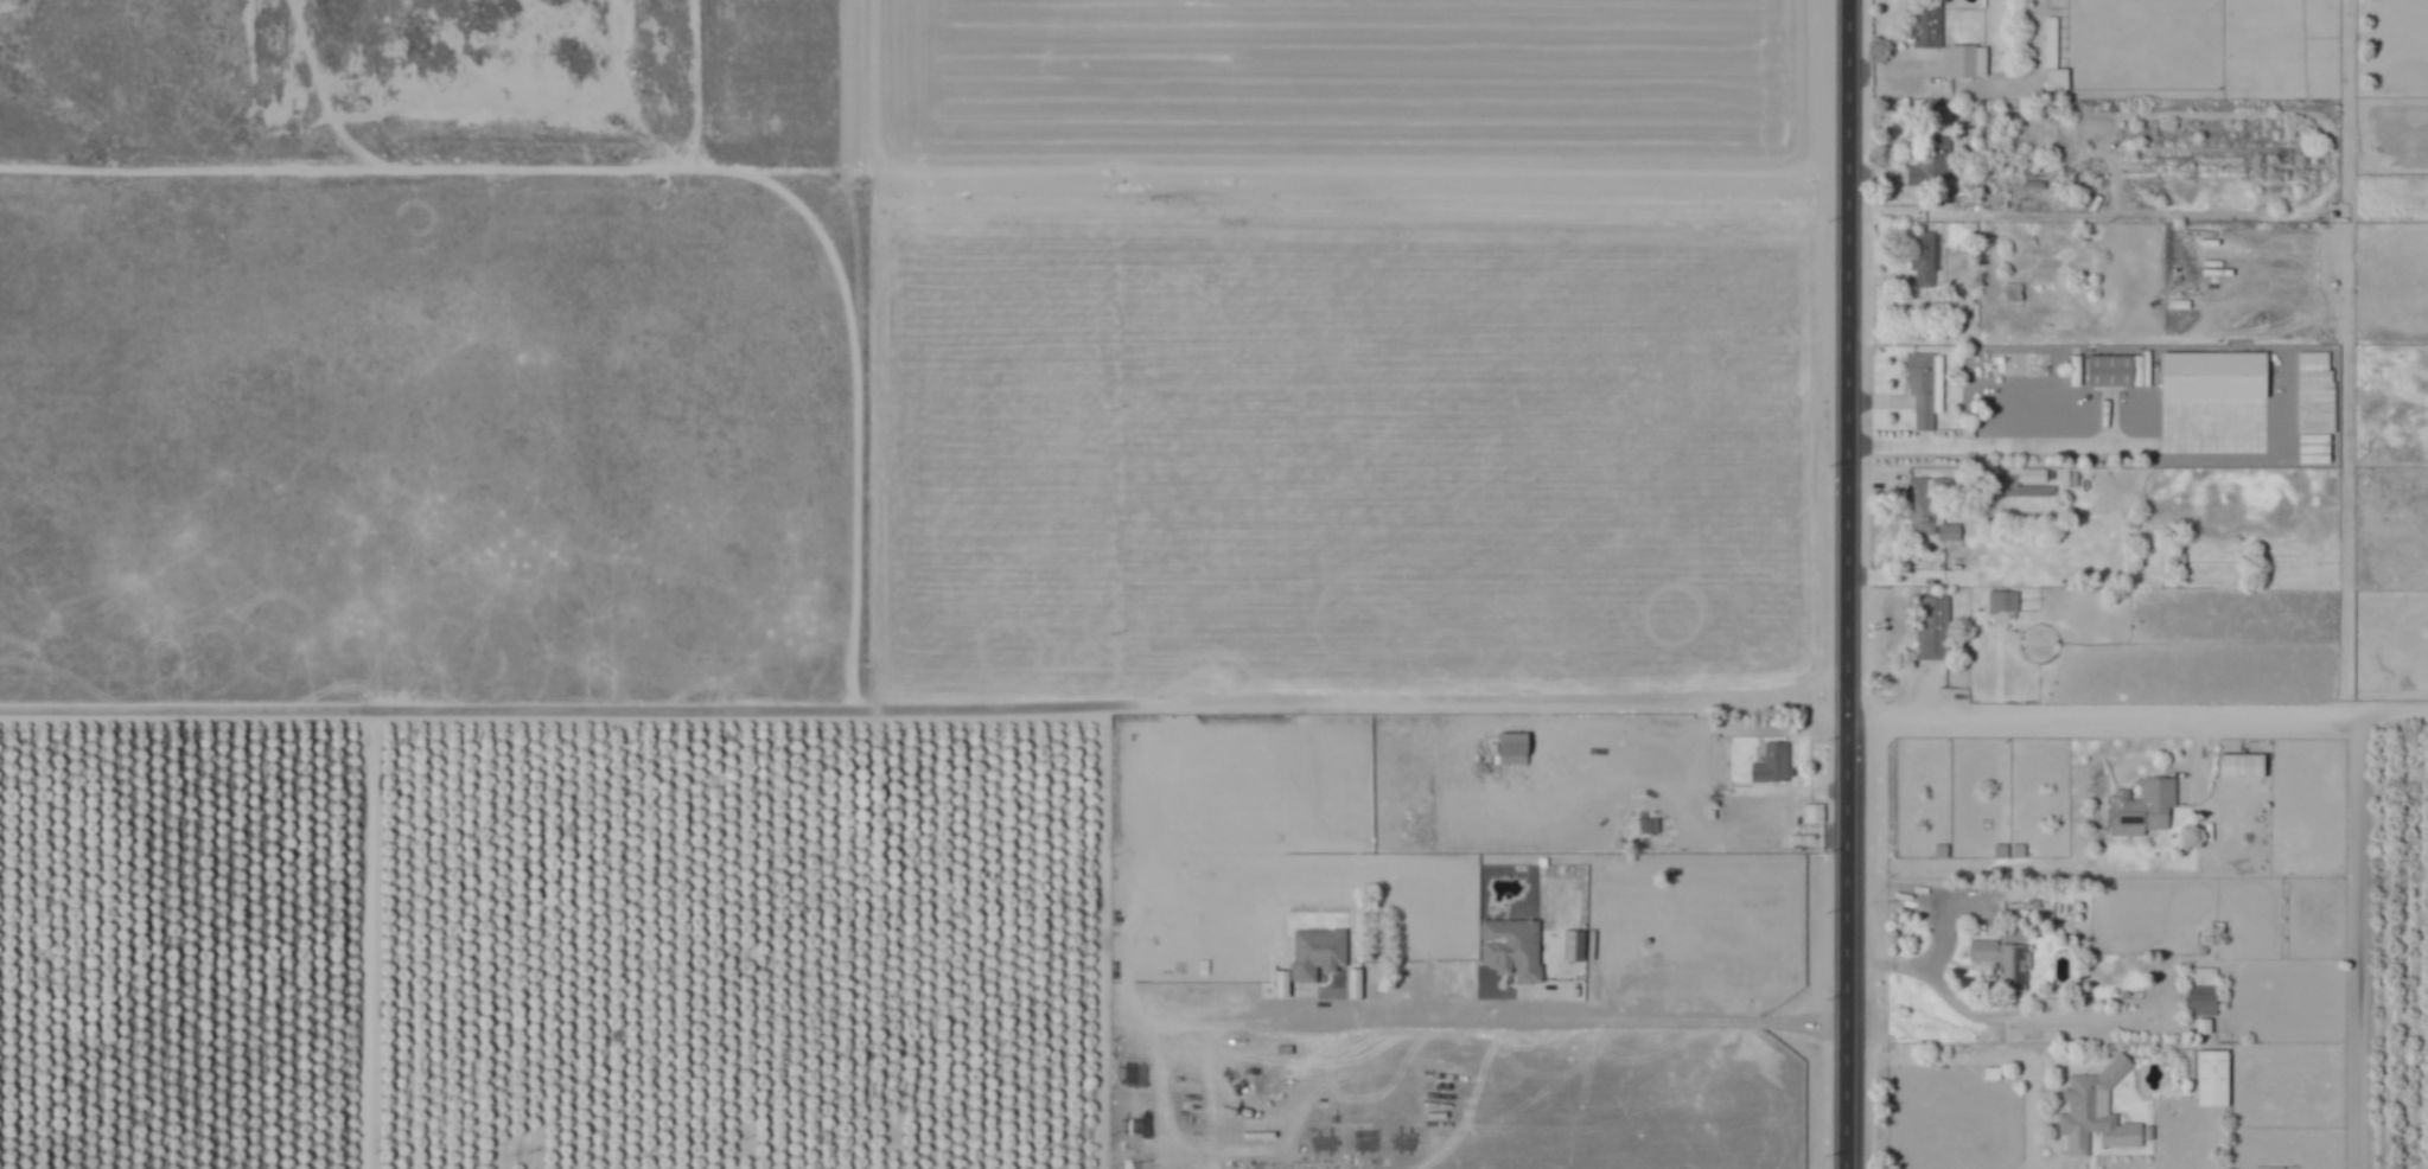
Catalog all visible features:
building: (1927, 26)
building: (2048, 40)
building: (1968, 62)
building: (2054, 78)
building: (1931, 161)
road: (925, 173)
building: (1922, 256)
road: (1849, 357)
building: (2110, 371)
building: (2211, 375)
building: (1925, 381)
building: (2313, 398)
road: (2281, 404)
crop: (830, 424)
road: (2056, 446)
building: (2033, 477)
building: (1942, 485)
building: (2018, 490)
building: (1920, 509)
building: (1949, 532)
building: (1957, 551)
building: (2003, 602)
building: (1936, 628)
road: (1481, 715)
road: (2137, 715)
building: (1715, 743)
building: (1510, 747)
building: (1773, 765)
building: (2242, 768)
building: (2143, 809)
building: (1474, 810)
building: (1816, 816)
building: (1644, 826)
building: (1939, 851)
building: (2001, 851)
building: (2018, 852)
building: (1772, 883)
building: (2037, 906)
building: (2217, 928)
road: (1848, 941)
crop: (2148, 943)
road: (2366, 943)
building: (1517, 953)
building: (1319, 956)
building: (2001, 964)
building: (1353, 984)
building: (2203, 992)
road: (2000, 1014)
road: (1555, 1017)
road: (1989, 1058)
building: (1993, 1075)
building: (2213, 1081)
building: (2092, 1103)
building: (2267, 1167)

